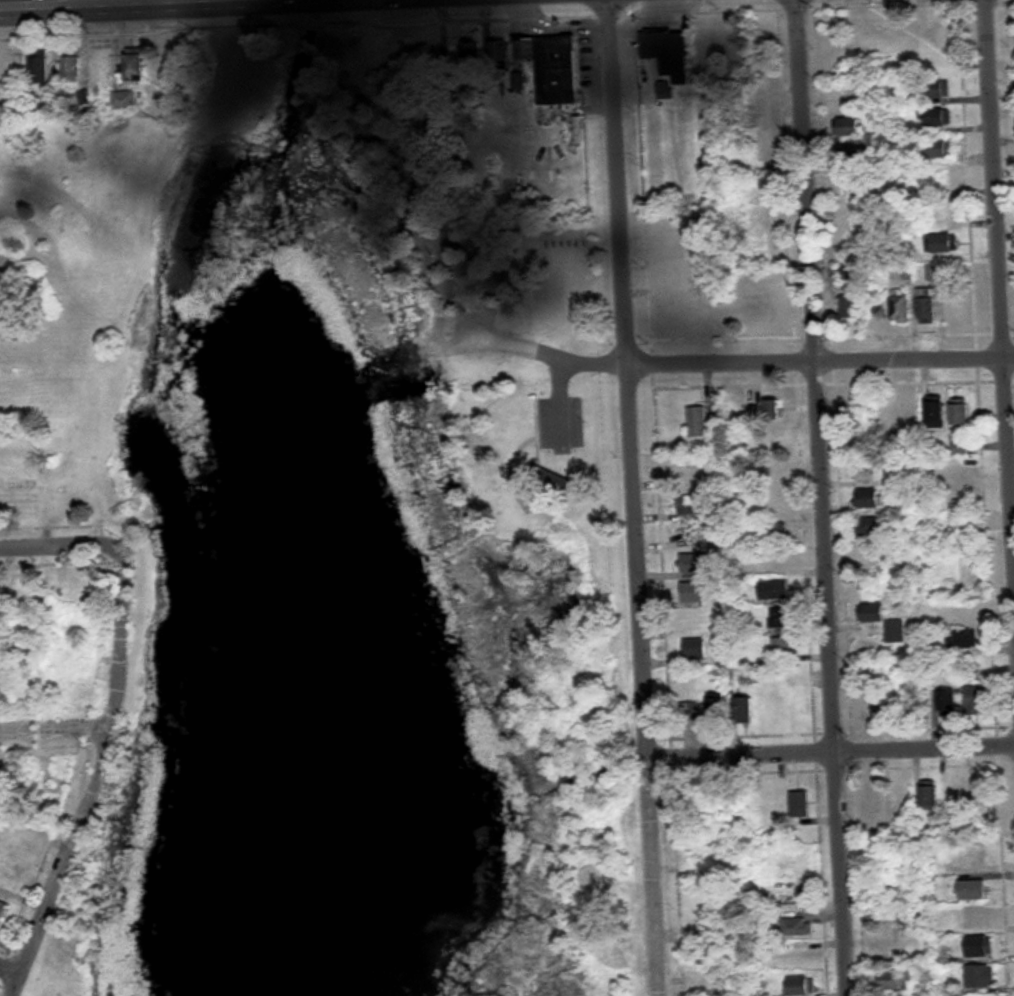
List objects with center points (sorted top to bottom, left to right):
road: (63, 2)
building: (863, 35)
building: (707, 43)
building: (667, 52)
building: (471, 53)
building: (499, 53)
building: (72, 68)
building: (135, 68)
building: (552, 69)
building: (39, 70)
building: (517, 82)
building: (938, 89)
building: (123, 101)
building: (939, 118)
building: (850, 128)
building: (941, 150)
building: (854, 191)
building: (944, 215)
building: (761, 227)
road: (999, 231)
building: (945, 245)
building: (934, 273)
building: (927, 306)
building: (899, 307)
building: (850, 308)
building: (757, 314)
building: (1, 315)
road: (825, 364)
building: (773, 408)
building: (936, 414)
building: (961, 415)
building: (697, 421)
building: (750, 431)
building: (775, 443)
building: (548, 477)
building: (773, 477)
road: (641, 497)
road: (827, 497)
building: (870, 498)
building: (773, 502)
building: (692, 505)
building: (869, 527)
building: (776, 532)
road: (63, 536)
park: (325, 544)
building: (777, 561)
building: (695, 563)
building: (773, 589)
building: (72, 592)
building: (693, 592)
building: (780, 618)
building: (885, 623)
building: (962, 639)
building: (781, 648)
building: (695, 649)
building: (947, 700)
building: (977, 700)
building: (744, 709)
building: (717, 712)
road: (56, 727)
road: (832, 747)
road: (94, 773)
building: (929, 795)
building: (799, 803)
building: (971, 853)
building: (972, 890)
building: (2, 910)
building: (971, 916)
building: (796, 926)
building: (978, 946)
building: (798, 955)
road: (11, 968)
building: (980, 976)
building: (895, 981)
building: (801, 985)
building: (981, 995)

